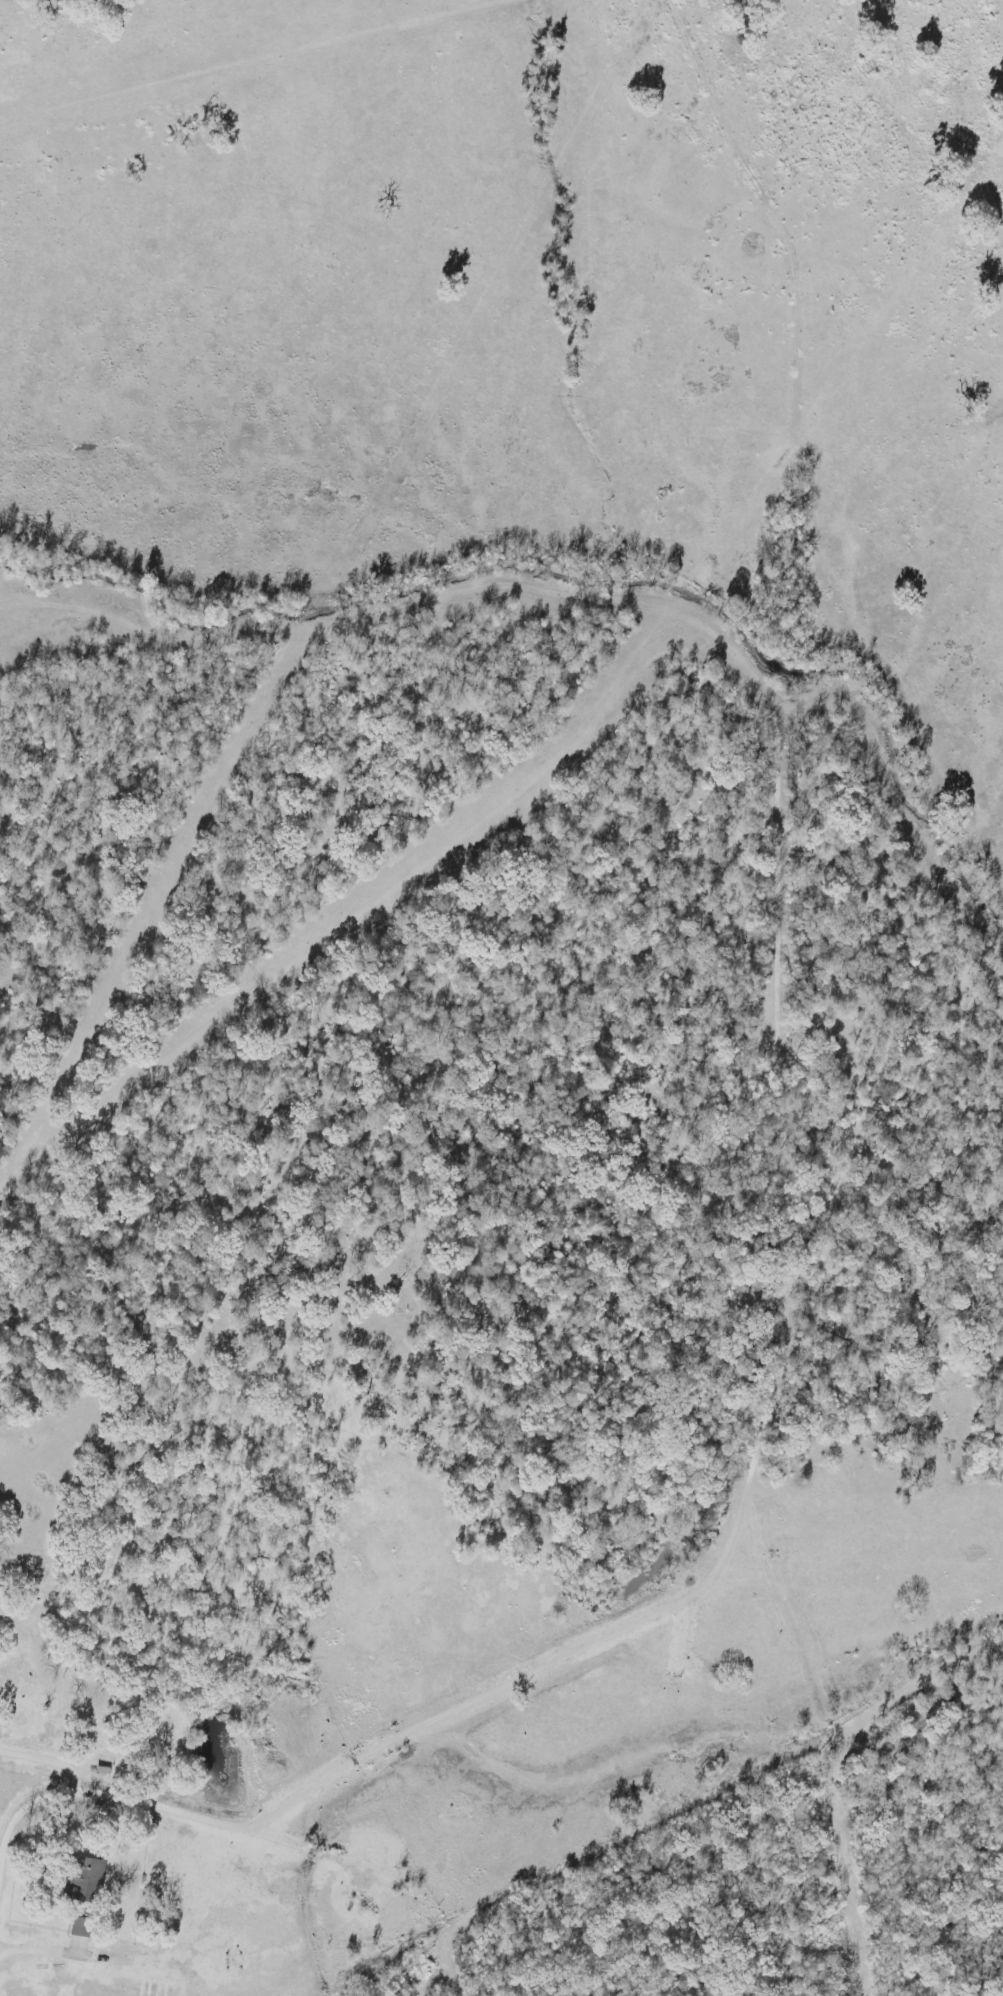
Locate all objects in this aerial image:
river: (866, 671)
road: (749, 1487)
road: (47, 1765)
road: (17, 1830)
building: (83, 1877)
building: (75, 1928)

